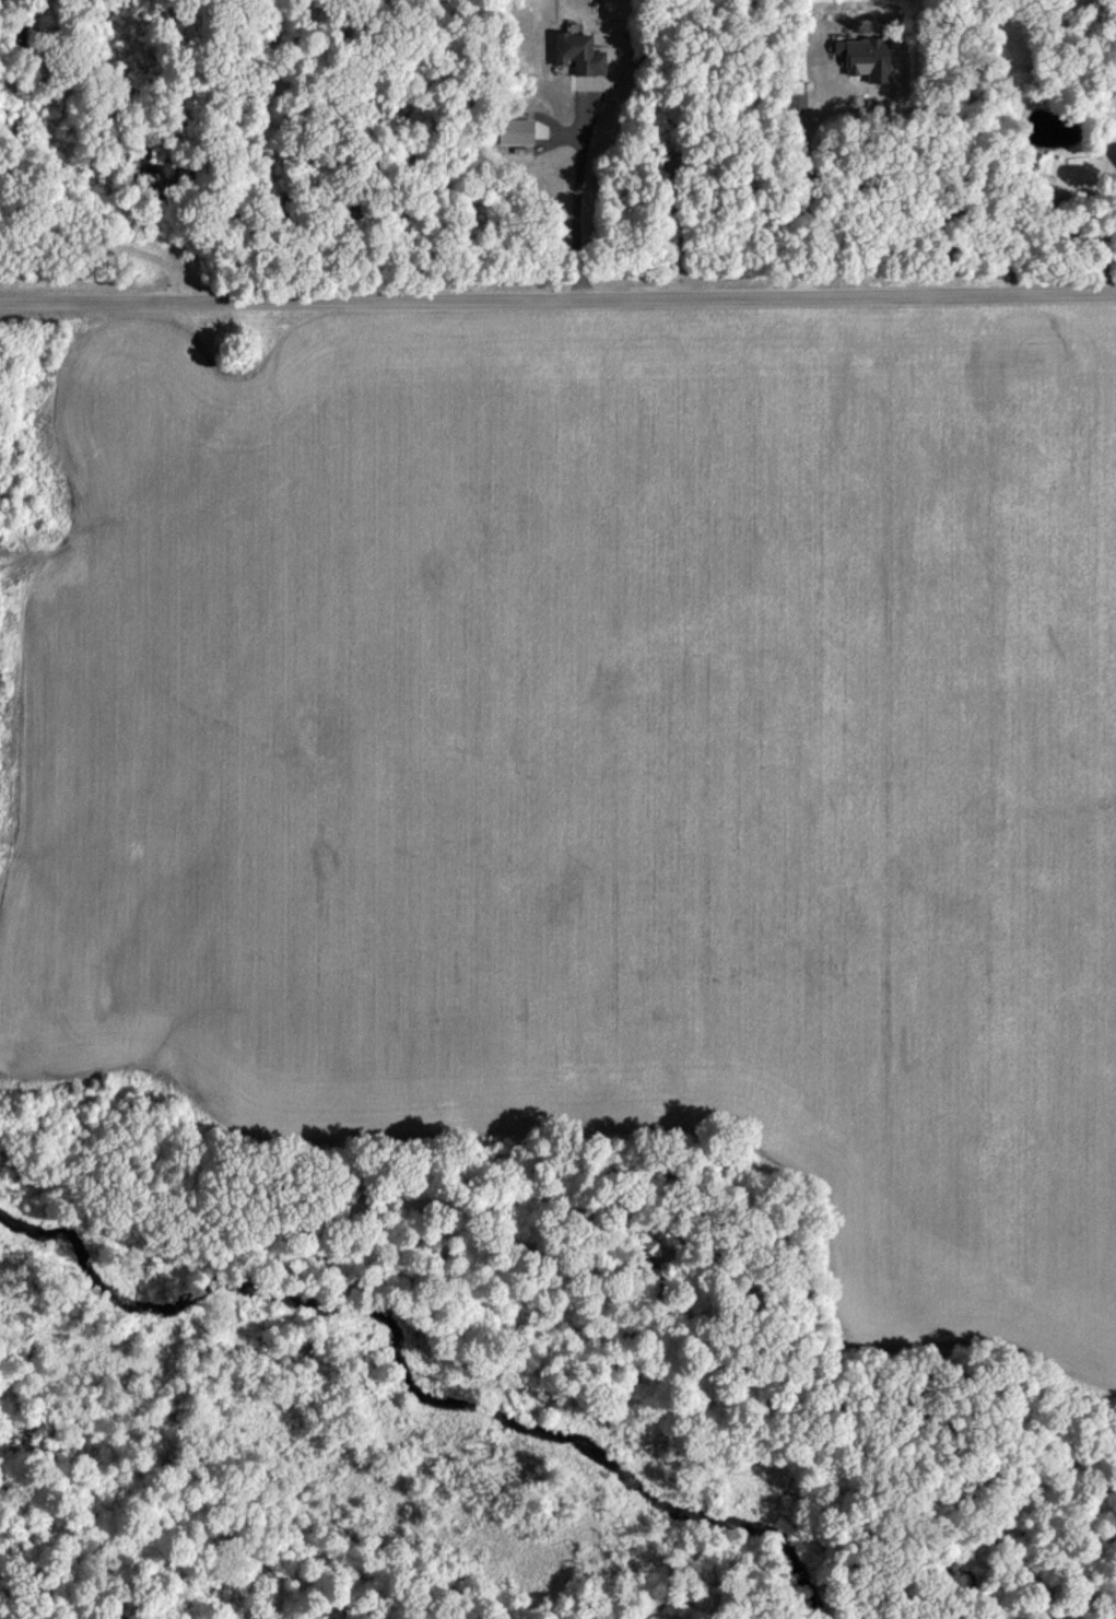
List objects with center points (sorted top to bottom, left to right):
building: (575, 58)
road: (802, 198)
road: (575, 199)
road: (93, 227)
road: (557, 303)

